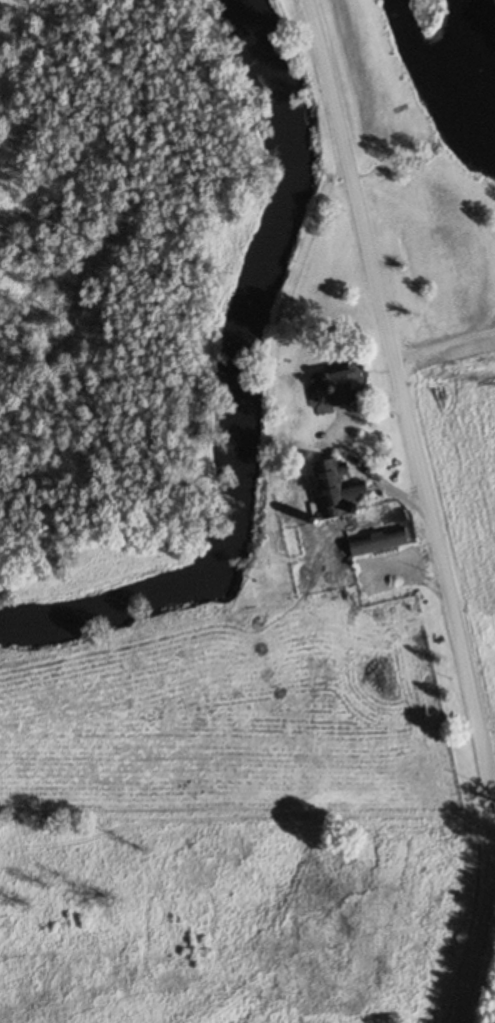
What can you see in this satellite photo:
building: (344, 386)
river: (245, 389)
building: (338, 487)
road: (429, 508)
building: (380, 541)

